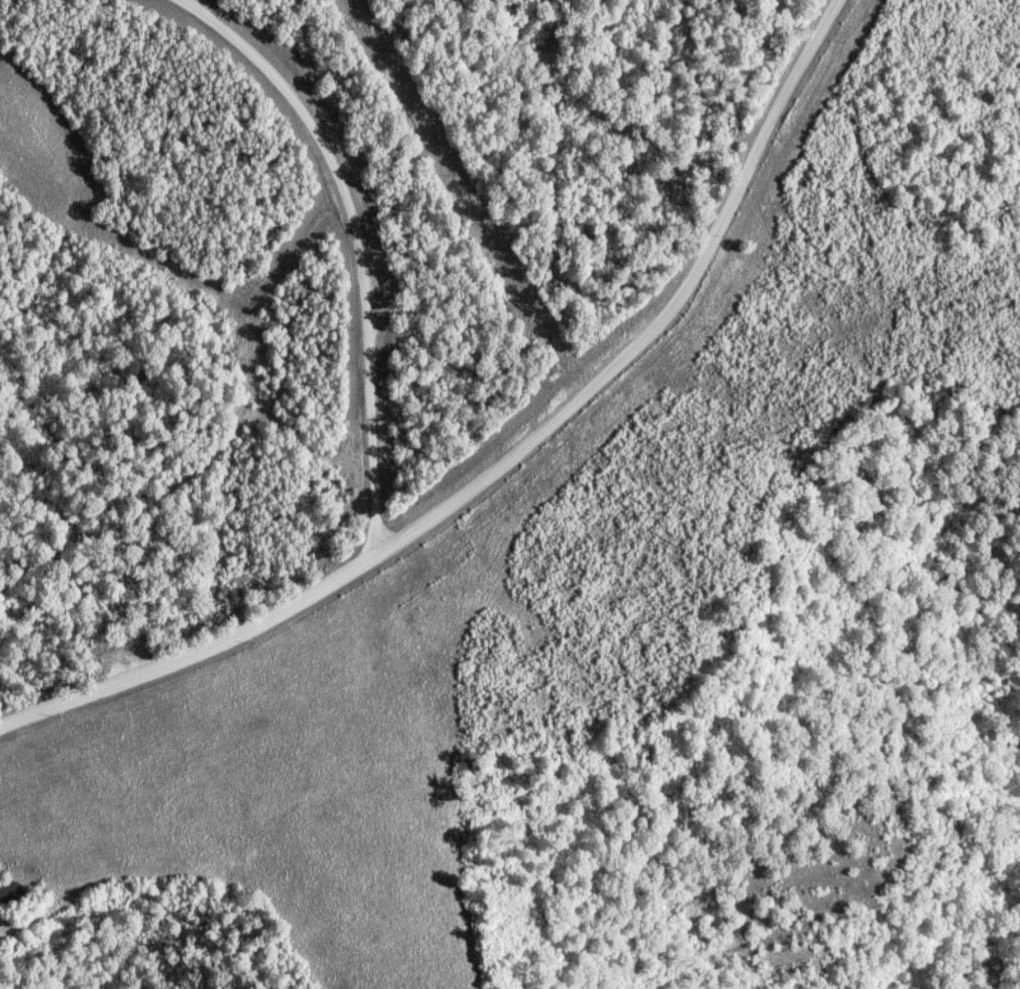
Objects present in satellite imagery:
road: (360, 244)
parking lot: (389, 288)
road: (507, 463)
parking lot: (132, 658)

